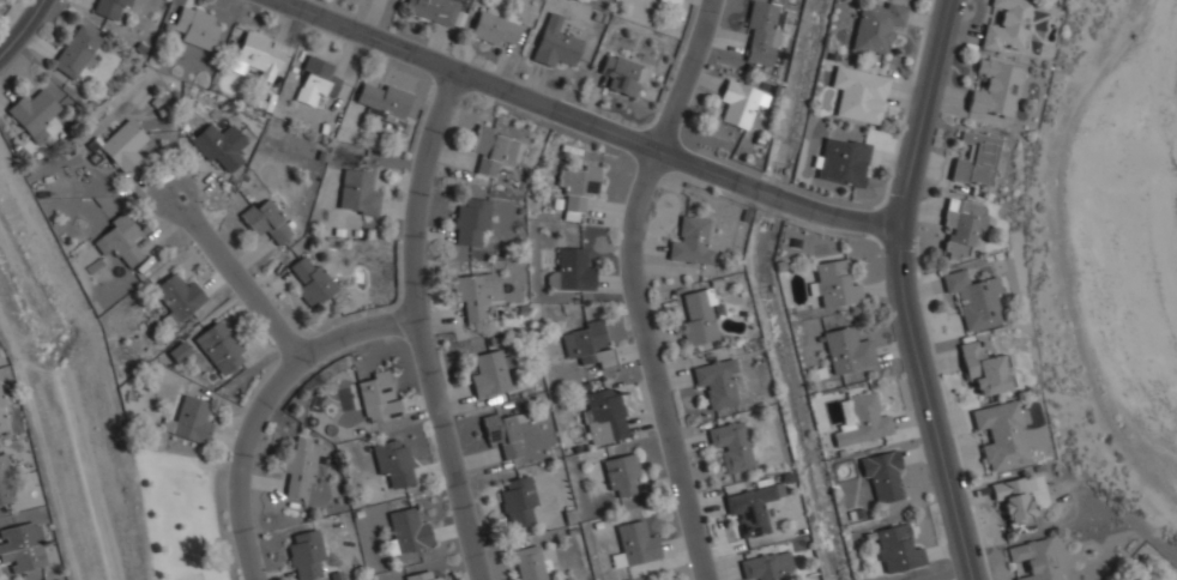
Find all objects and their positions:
building: (669, 2)
building: (110, 8)
building: (433, 10)
building: (1007, 25)
building: (876, 26)
building: (195, 28)
road: (22, 29)
building: (494, 29)
building: (760, 35)
building: (555, 44)
building: (255, 52)
building: (76, 53)
building: (620, 74)
building: (314, 83)
building: (994, 89)
building: (859, 95)
building: (384, 98)
building: (738, 103)
building: (32, 114)
road: (581, 123)
building: (123, 145)
building: (218, 146)
building: (490, 150)
building: (976, 159)
building: (841, 162)
building: (578, 186)
building: (357, 194)
building: (265, 220)
building: (470, 222)
building: (960, 225)
building: (117, 241)
building: (690, 241)
road: (1060, 259)
road: (241, 271)
building: (571, 271)
building: (312, 282)
road: (640, 285)
building: (833, 285)
road: (906, 290)
building: (475, 294)
building: (176, 298)
building: (974, 300)
building: (699, 319)
road: (416, 328)
building: (587, 345)
building: (218, 346)
building: (846, 351)
building: (984, 369)
building: (489, 375)
building: (717, 382)
building: (378, 397)
road: (265, 406)
building: (604, 416)
building: (2, 419)
building: (192, 421)
building: (863, 421)
building: (502, 435)
building: (1001, 435)
building: (731, 446)
building: (393, 463)
building: (300, 472)
building: (621, 475)
building: (882, 476)
building: (5, 483)
building: (518, 501)
building: (1015, 502)
building: (749, 510)
park: (181, 514)
building: (408, 532)
building: (634, 545)
building: (22, 548)
building: (897, 550)
building: (304, 555)
building: (1032, 561)
building: (530, 563)
building: (766, 566)
building: (421, 576)

